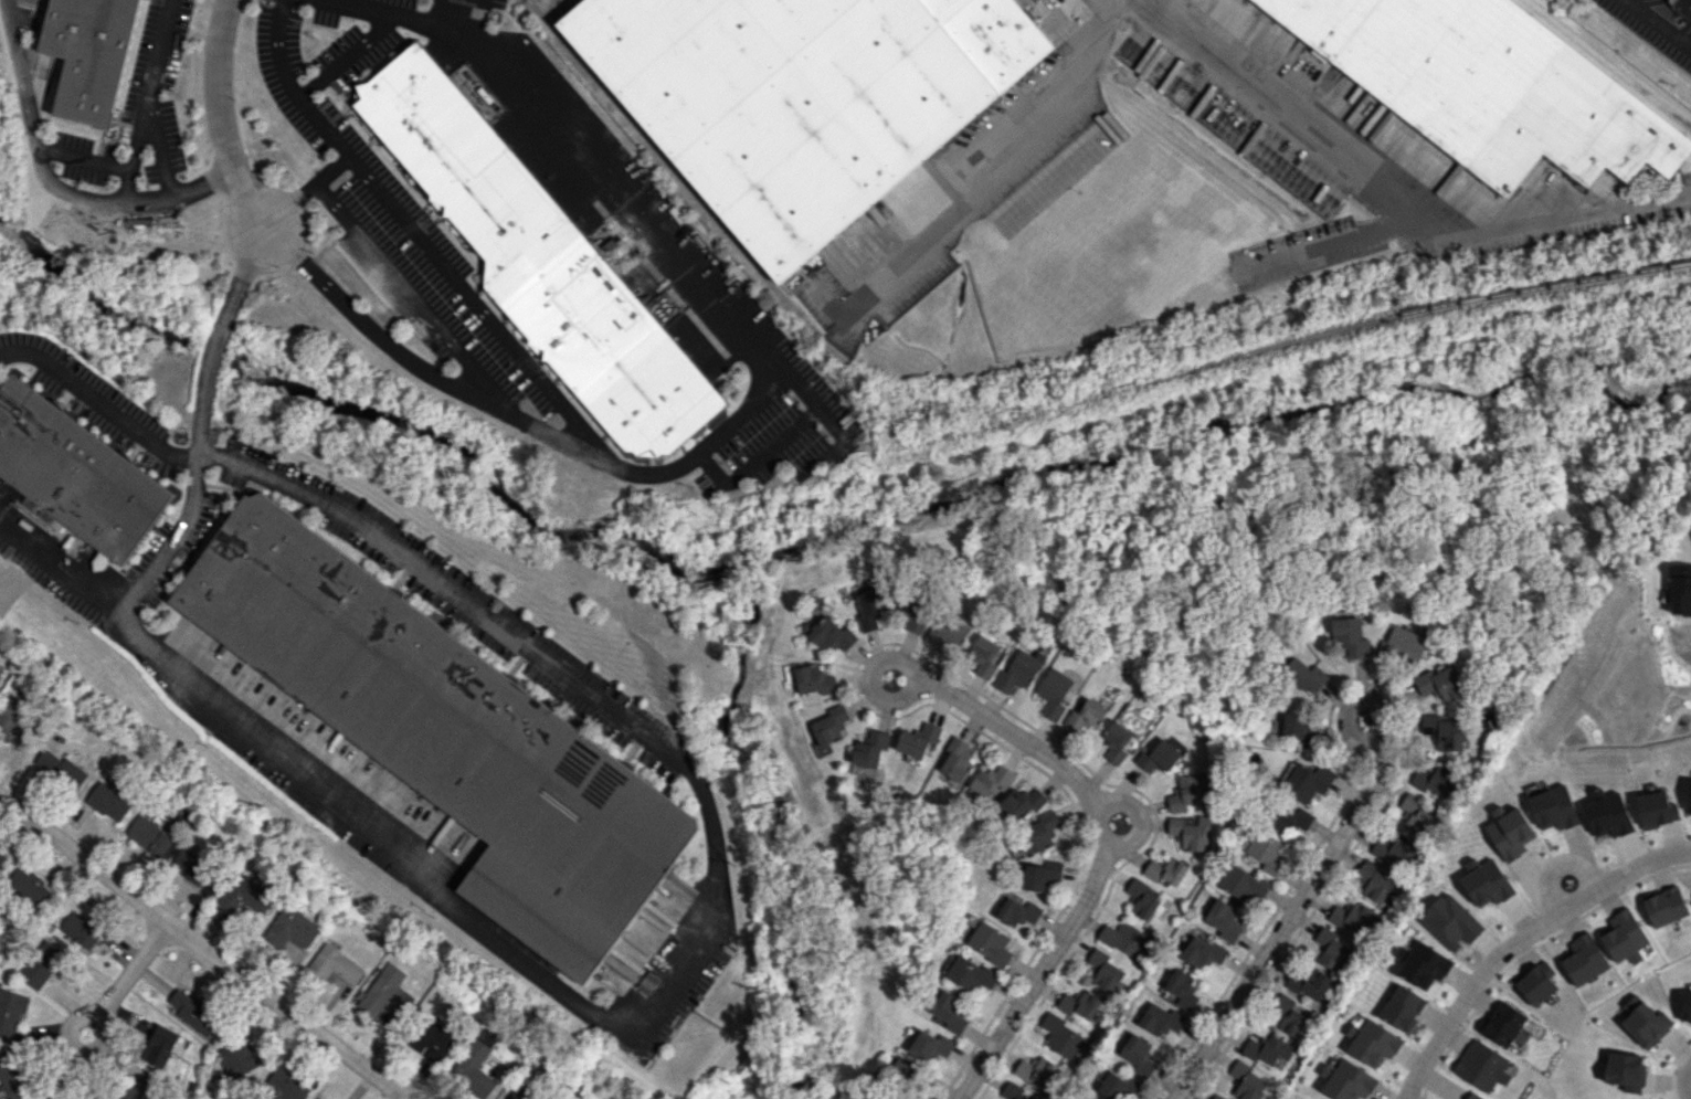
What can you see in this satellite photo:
building: (1682, 8)
road: (473, 11)
road: (1656, 25)
road: (350, 53)
building: (91, 56)
building: (1492, 85)
road: (154, 97)
building: (803, 97)
road: (220, 118)
road: (326, 127)
road: (52, 182)
road: (984, 183)
road: (1394, 203)
road: (1323, 243)
building: (535, 251)
road: (240, 282)
road: (415, 300)
road: (477, 305)
road: (212, 350)
road: (98, 400)
railway: (1036, 406)
road: (201, 408)
road: (742, 410)
road: (802, 420)
building: (75, 473)
building: (1680, 590)
road: (128, 601)
building: (871, 610)
building: (913, 610)
building: (950, 631)
building: (829, 634)
building: (1351, 636)
building: (1406, 644)
building: (986, 656)
building: (1021, 670)
building: (0, 674)
building: (1304, 675)
building: (810, 678)
building: (1440, 683)
building: (1056, 691)
road: (873, 695)
building: (1087, 718)
building: (19, 720)
road: (1343, 722)
building: (831, 725)
building: (1300, 730)
building: (1442, 731)
building: (446, 732)
building: (918, 740)
building: (1117, 741)
building: (868, 752)
building: (1162, 754)
building: (955, 761)
building: (60, 769)
building: (1433, 778)
building: (1307, 781)
building: (990, 783)
building: (1186, 791)
building: (1689, 800)
building: (108, 802)
building: (1019, 804)
building: (1554, 807)
building: (1656, 810)
building: (1417, 813)
building: (1608, 815)
road: (1135, 818)
building: (1291, 818)
building: (1188, 832)
building: (1038, 833)
building: (1511, 834)
building: (151, 835)
building: (1395, 848)
building: (1266, 852)
building: (1, 859)
road: (1100, 863)
road: (1556, 864)
building: (192, 866)
building: (1165, 870)
building: (1042, 875)
building: (1374, 880)
building: (1486, 883)
building: (28, 886)
building: (246, 896)
building: (1140, 898)
building: (1664, 907)
building: (1018, 911)
building: (1352, 917)
road: (1289, 919)
building: (1224, 920)
building: (1450, 921)
building: (294, 928)
building: (81, 930)
building: (1623, 937)
building: (1124, 939)
road: (1516, 939)
building: (990, 943)
road: (201, 945)
road: (696, 945)
building: (1331, 948)
building: (1202, 951)
building: (1583, 959)
building: (41, 964)
building: (335, 964)
building: (1424, 965)
building: (1103, 970)
building: (971, 974)
building: (1309, 983)
building: (1536, 983)
building: (1182, 989)
building: (387, 993)
building: (1079, 1004)
building: (1684, 1004)
building: (1403, 1007)
building: (950, 1011)
building: (194, 1012)
building: (11, 1014)
road: (98, 1015)
building: (1289, 1015)
building: (1161, 1021)
building: (1503, 1024)
building: (1646, 1024)
building: (1061, 1036)
building: (434, 1040)
building: (1372, 1043)
building: (931, 1045)
building: (159, 1046)
building: (1267, 1049)
building: (1138, 1055)
building: (242, 1058)
building: (475, 1065)
building: (1481, 1066)
building: (902, 1069)
building: (1036, 1071)
building: (1625, 1071)
building: (9, 1078)
building: (1346, 1080)
building: (1246, 1081)
road: (1683, 1081)
building: (284, 1085)
building: (1112, 1086)
building: (138, 1090)
building: (1014, 1092)
building: (519, 1093)
building: (1472, 1096)
building: (1216, 1097)
building: (47, 1098)
building: (1088, 1098)

